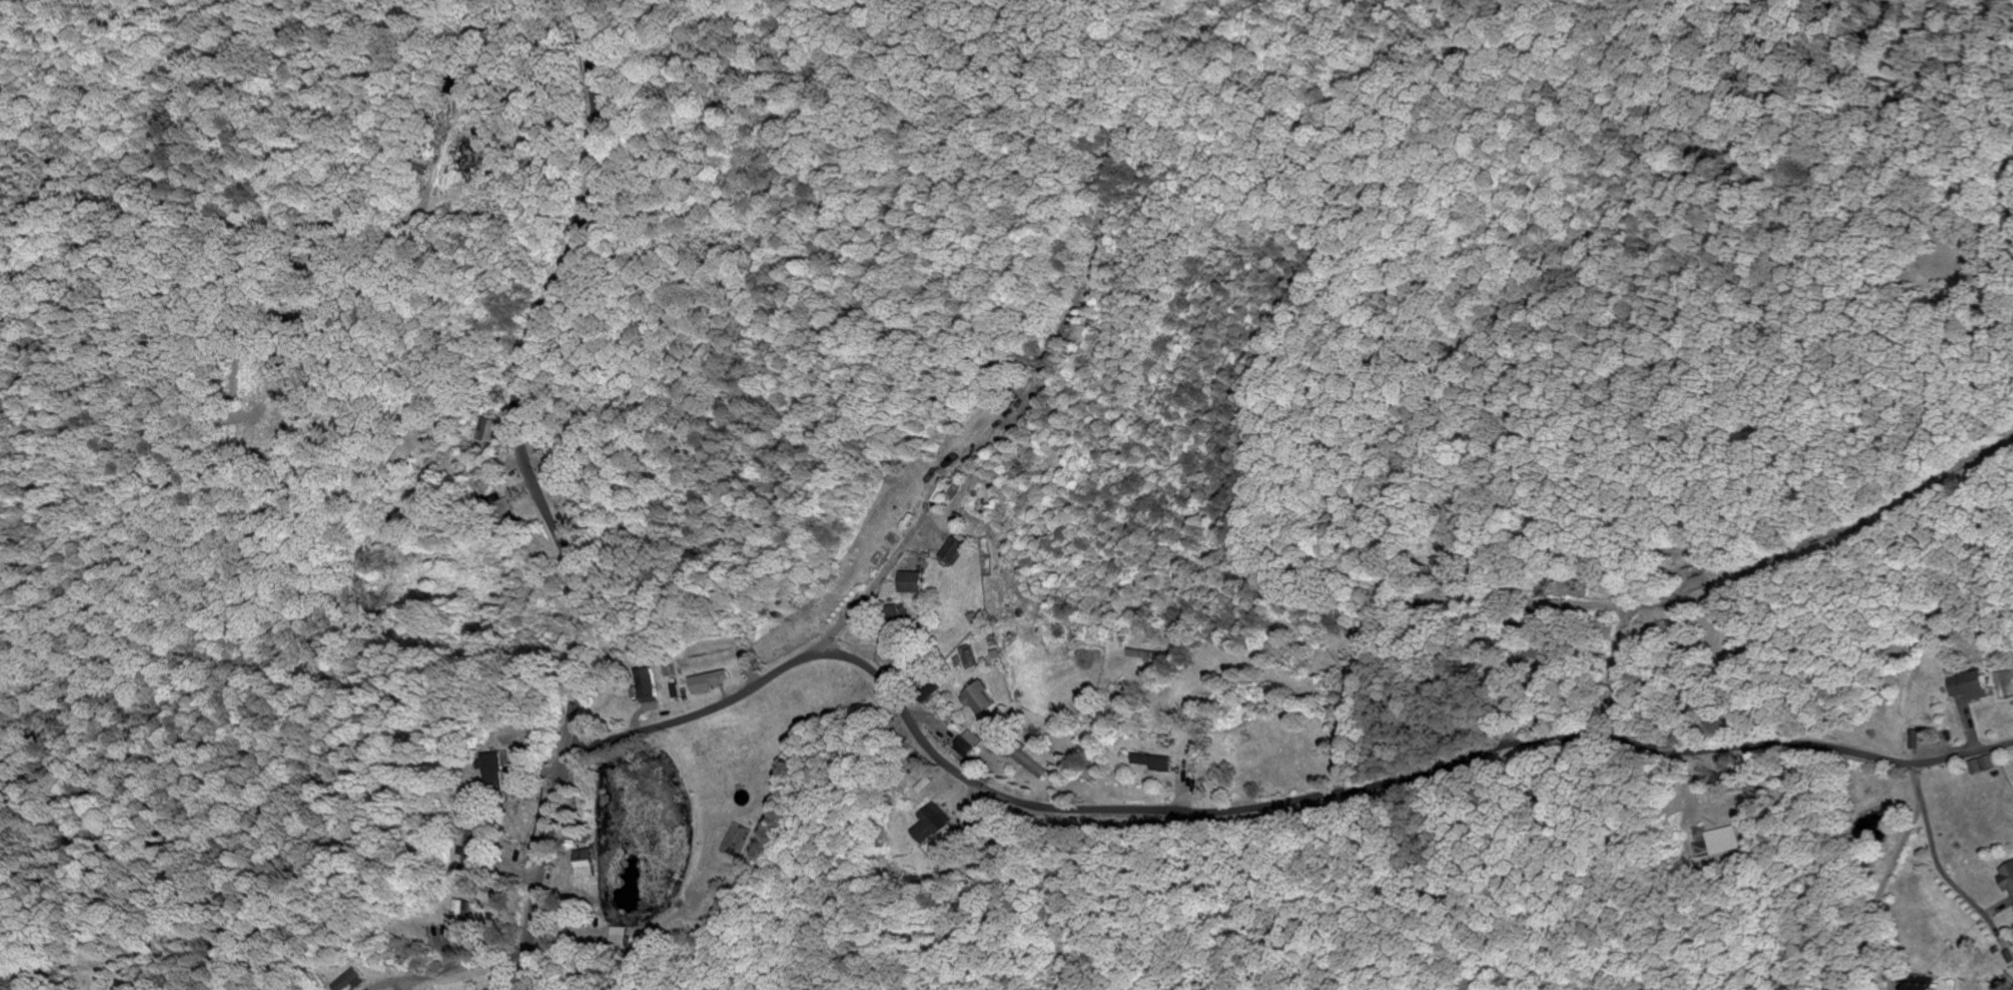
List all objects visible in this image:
building: (495, 431)
road: (546, 492)
building: (953, 552)
building: (1695, 573)
road: (1753, 573)
building: (912, 582)
building: (1699, 584)
building: (1149, 655)
building: (971, 658)
building: (712, 682)
building: (650, 686)
building: (1968, 686)
building: (981, 699)
building: (970, 744)
building: (1155, 763)
building: (1981, 766)
building: (499, 771)
road: (1252, 803)
building: (932, 825)
building: (1725, 841)
building: (477, 849)
road: (1934, 855)
building: (584, 864)
building: (2006, 877)
building: (460, 922)
building: (351, 981)
building: (1923, 984)

